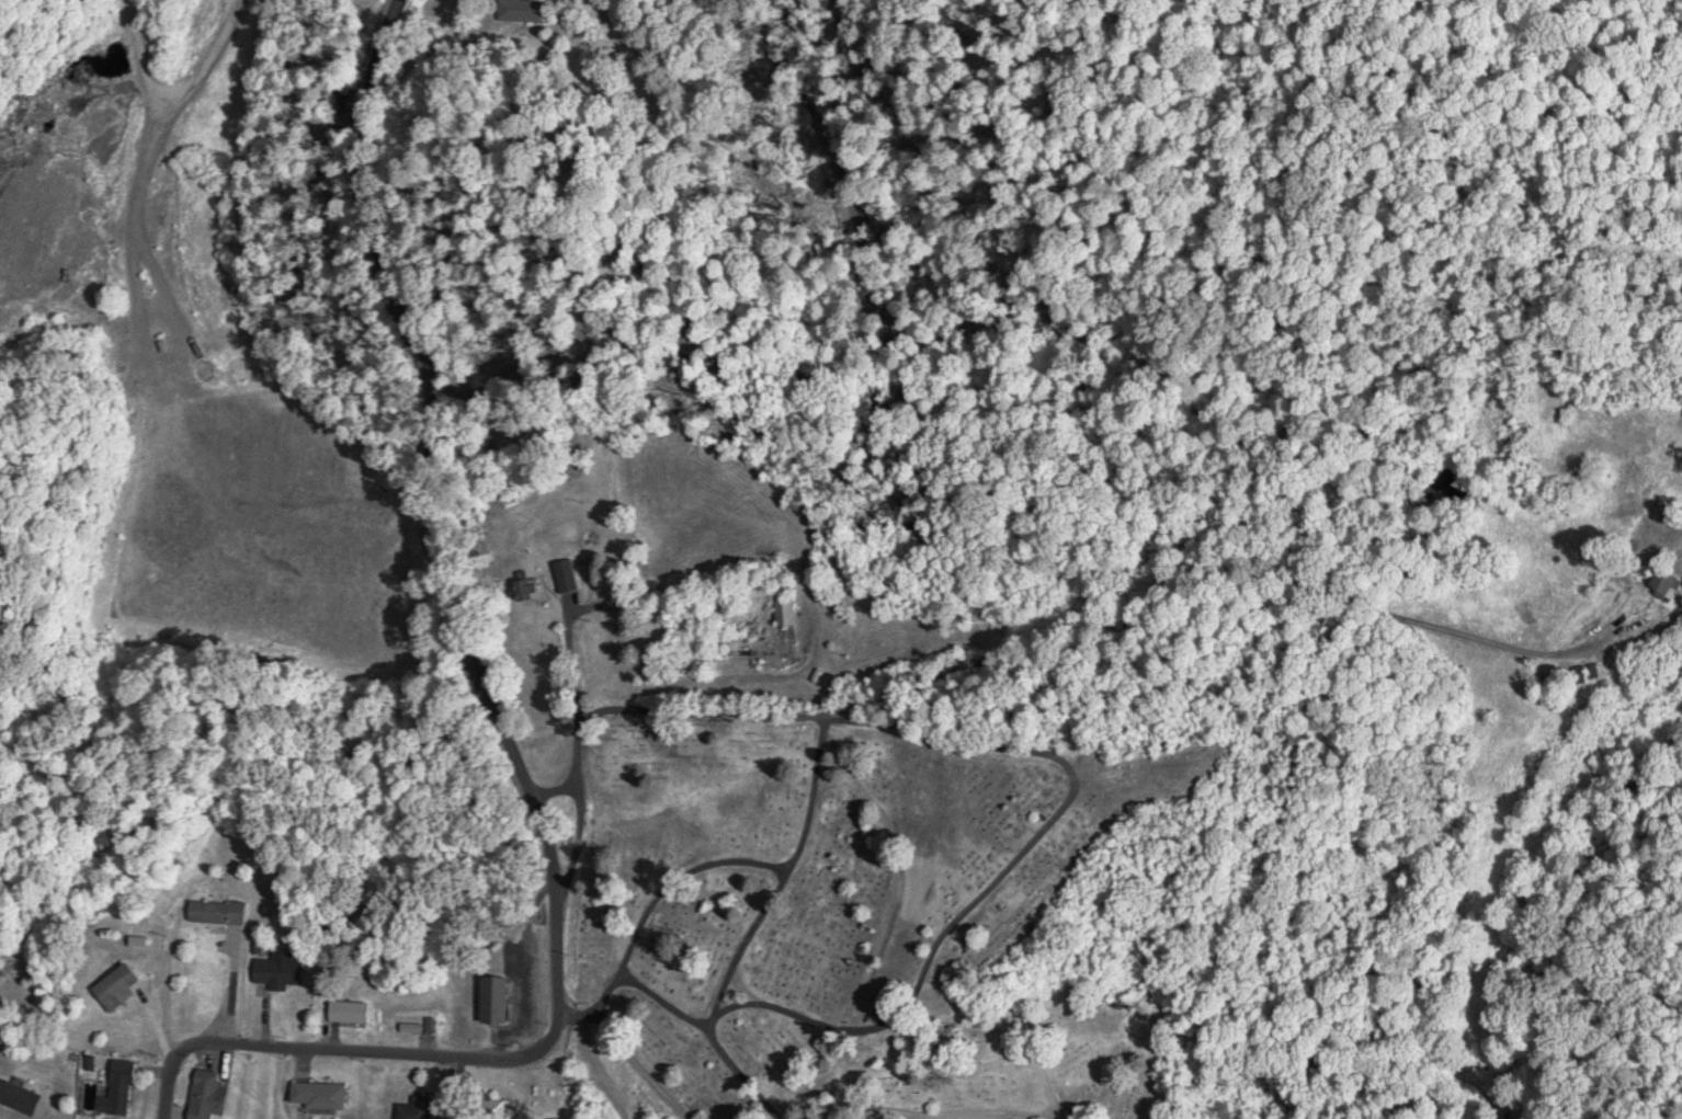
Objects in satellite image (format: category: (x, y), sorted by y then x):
building: (526, 10)
road: (418, 385)
park: (2, 489)
building: (567, 575)
building: (1670, 580)
building: (533, 586)
building: (786, 612)
road: (591, 647)
road: (806, 711)
road: (559, 737)
road: (1009, 869)
road: (782, 875)
road: (547, 886)
road: (651, 903)
building: (221, 912)
park: (937, 913)
building: (283, 970)
building: (122, 987)
building: (499, 998)
building: (353, 1010)
road: (713, 1030)
road: (346, 1053)
building: (212, 1095)
building: (326, 1095)
building: (22, 1096)
building: (121, 1098)
building: (420, 1108)

